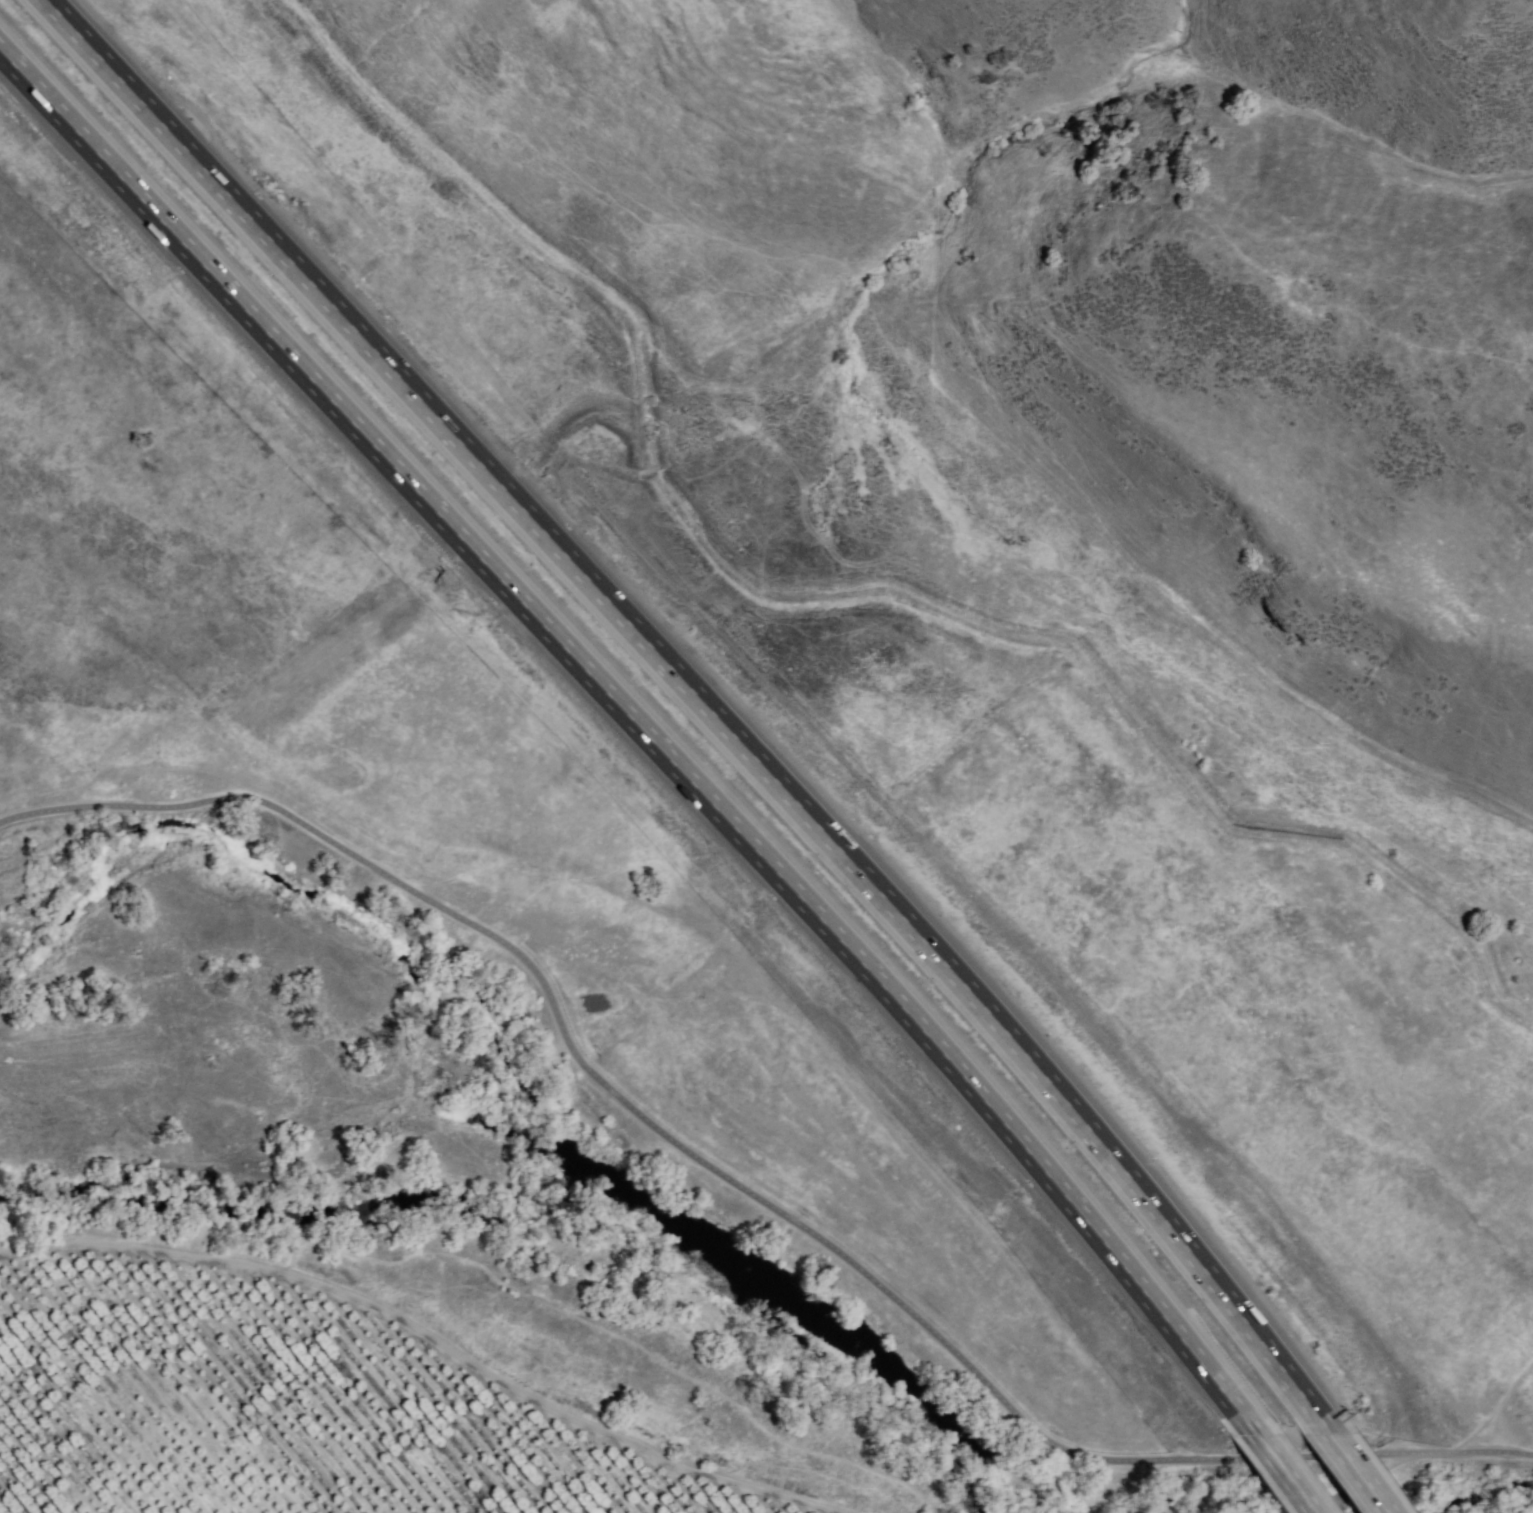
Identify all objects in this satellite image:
power tower: (868, 114)
power tower: (989, 324)
park: (148, 492)
power tower: (1103, 613)
road: (1091, 681)
road: (703, 703)
road: (643, 733)
power tower: (1319, 744)
road: (1205, 1063)
road: (734, 1187)
road: (429, 1338)
road: (1483, 1389)
crop: (830, 1447)
road: (1358, 1474)
road: (1284, 1476)

